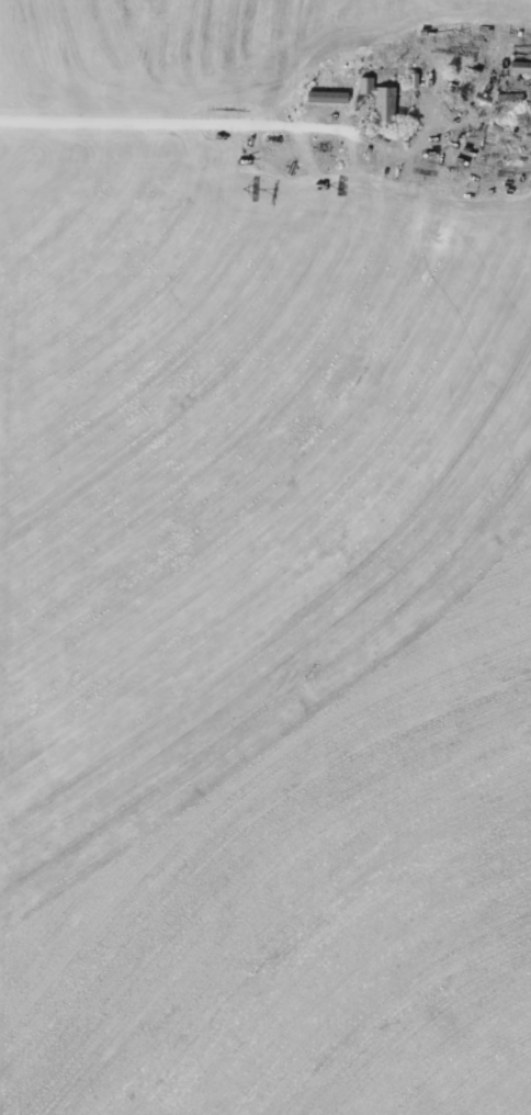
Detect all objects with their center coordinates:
road: (189, 131)

